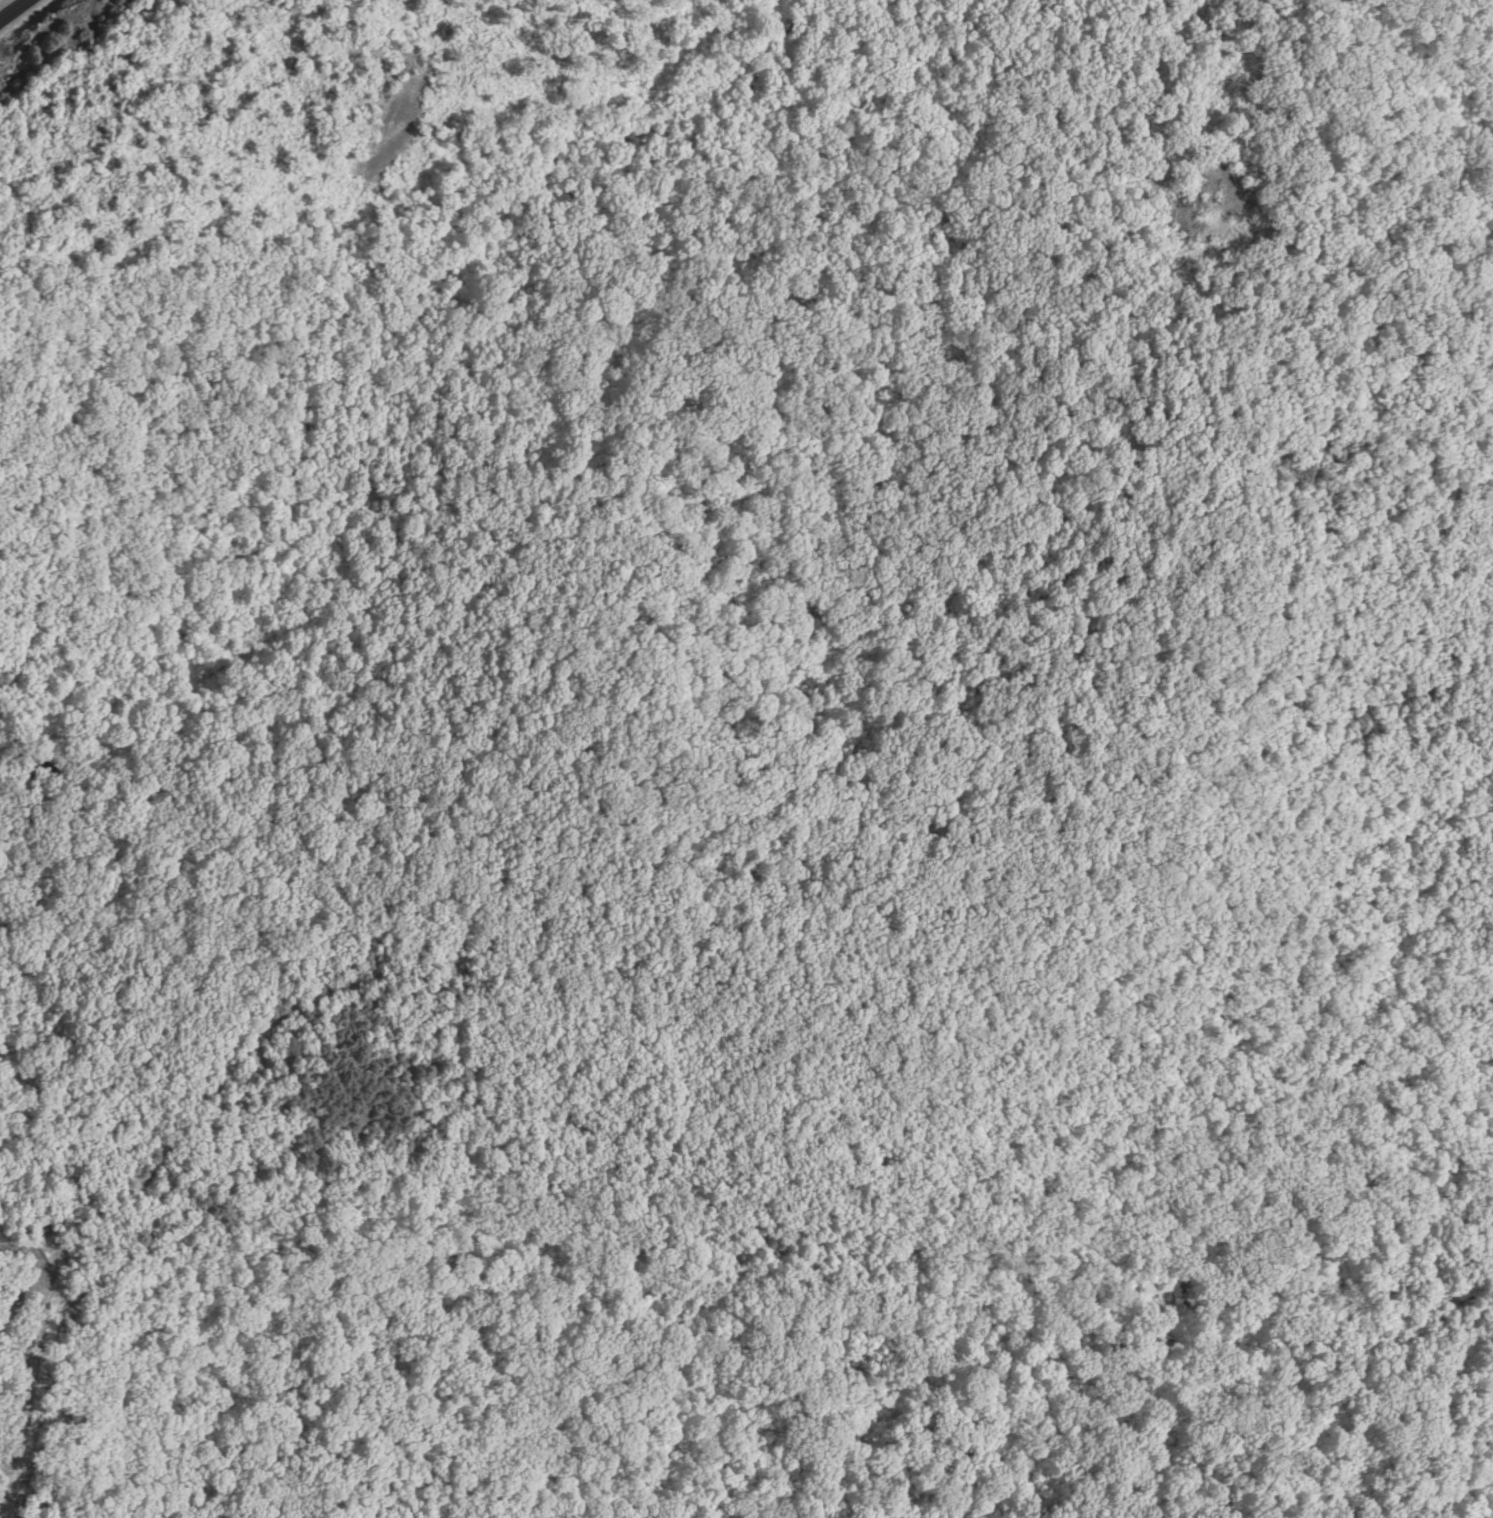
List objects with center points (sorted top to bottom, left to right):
road: (18, 14)

